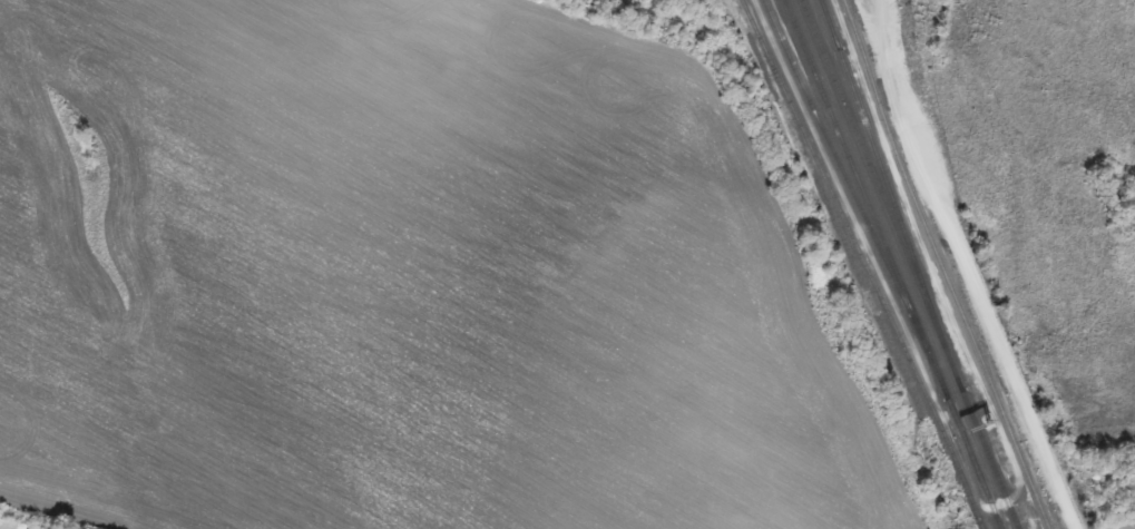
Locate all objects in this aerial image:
railway: (844, 173)
railway: (891, 185)
railway: (867, 263)
railway: (894, 264)
railway: (912, 264)
railway: (943, 266)

